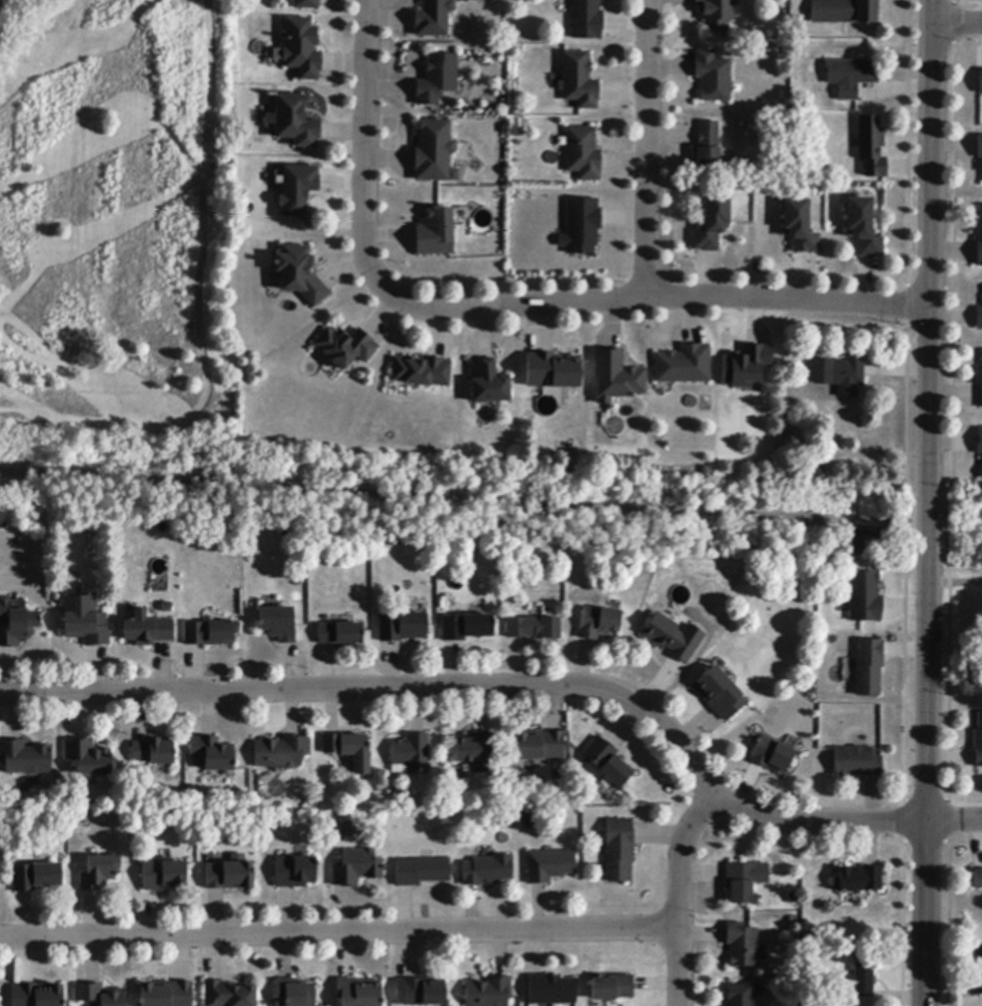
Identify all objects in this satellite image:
building: (307, 4)
building: (843, 12)
building: (715, 14)
building: (434, 18)
building: (586, 20)
road: (958, 23)
building: (302, 48)
building: (713, 77)
building: (850, 77)
building: (438, 79)
building: (579, 81)
building: (981, 82)
building: (295, 121)
building: (871, 147)
road: (646, 149)
building: (707, 149)
building: (980, 149)
building: (434, 151)
building: (583, 154)
building: (298, 190)
building: (713, 221)
building: (581, 226)
building: (799, 227)
park: (113, 229)
building: (863, 229)
building: (435, 233)
road: (930, 236)
building: (979, 241)
building: (299, 274)
road: (505, 306)
building: (979, 319)
building: (346, 347)
building: (684, 365)
building: (747, 367)
building: (553, 370)
building: (422, 371)
building: (839, 375)
building: (616, 377)
building: (488, 382)
building: (979, 383)
building: (979, 442)
building: (817, 471)
building: (981, 474)
road: (491, 500)
road: (926, 517)
building: (2, 521)
road: (954, 583)
building: (865, 597)
building: (85, 621)
building: (598, 623)
building: (279, 624)
building: (16, 625)
building: (402, 627)
building: (467, 627)
building: (533, 628)
building: (147, 630)
building: (211, 633)
building: (340, 633)
building: (673, 638)
building: (869, 668)
road: (516, 683)
building: (720, 694)
building: (978, 744)
building: (539, 746)
building: (350, 750)
building: (475, 751)
building: (154, 752)
building: (281, 752)
building: (214, 754)
building: (411, 755)
building: (772, 755)
building: (26, 758)
building: (89, 758)
building: (607, 762)
building: (856, 762)
road: (927, 784)
building: (508, 818)
building: (530, 820)
building: (619, 850)
building: (549, 866)
building: (358, 868)
building: (487, 869)
building: (100, 872)
building: (295, 872)
building: (422, 872)
building: (163, 874)
building: (230, 876)
building: (36, 877)
building: (976, 879)
building: (858, 880)
building: (741, 882)
road: (678, 894)
road: (339, 930)
building: (741, 945)
building: (976, 972)
building: (863, 980)
building: (612, 988)
building: (551, 990)
building: (359, 992)
building: (424, 992)
building: (489, 992)
building: (295, 993)
building: (167, 994)
building: (228, 994)
building: (37, 995)
building: (100, 995)
building: (741, 995)
building: (840, 999)

